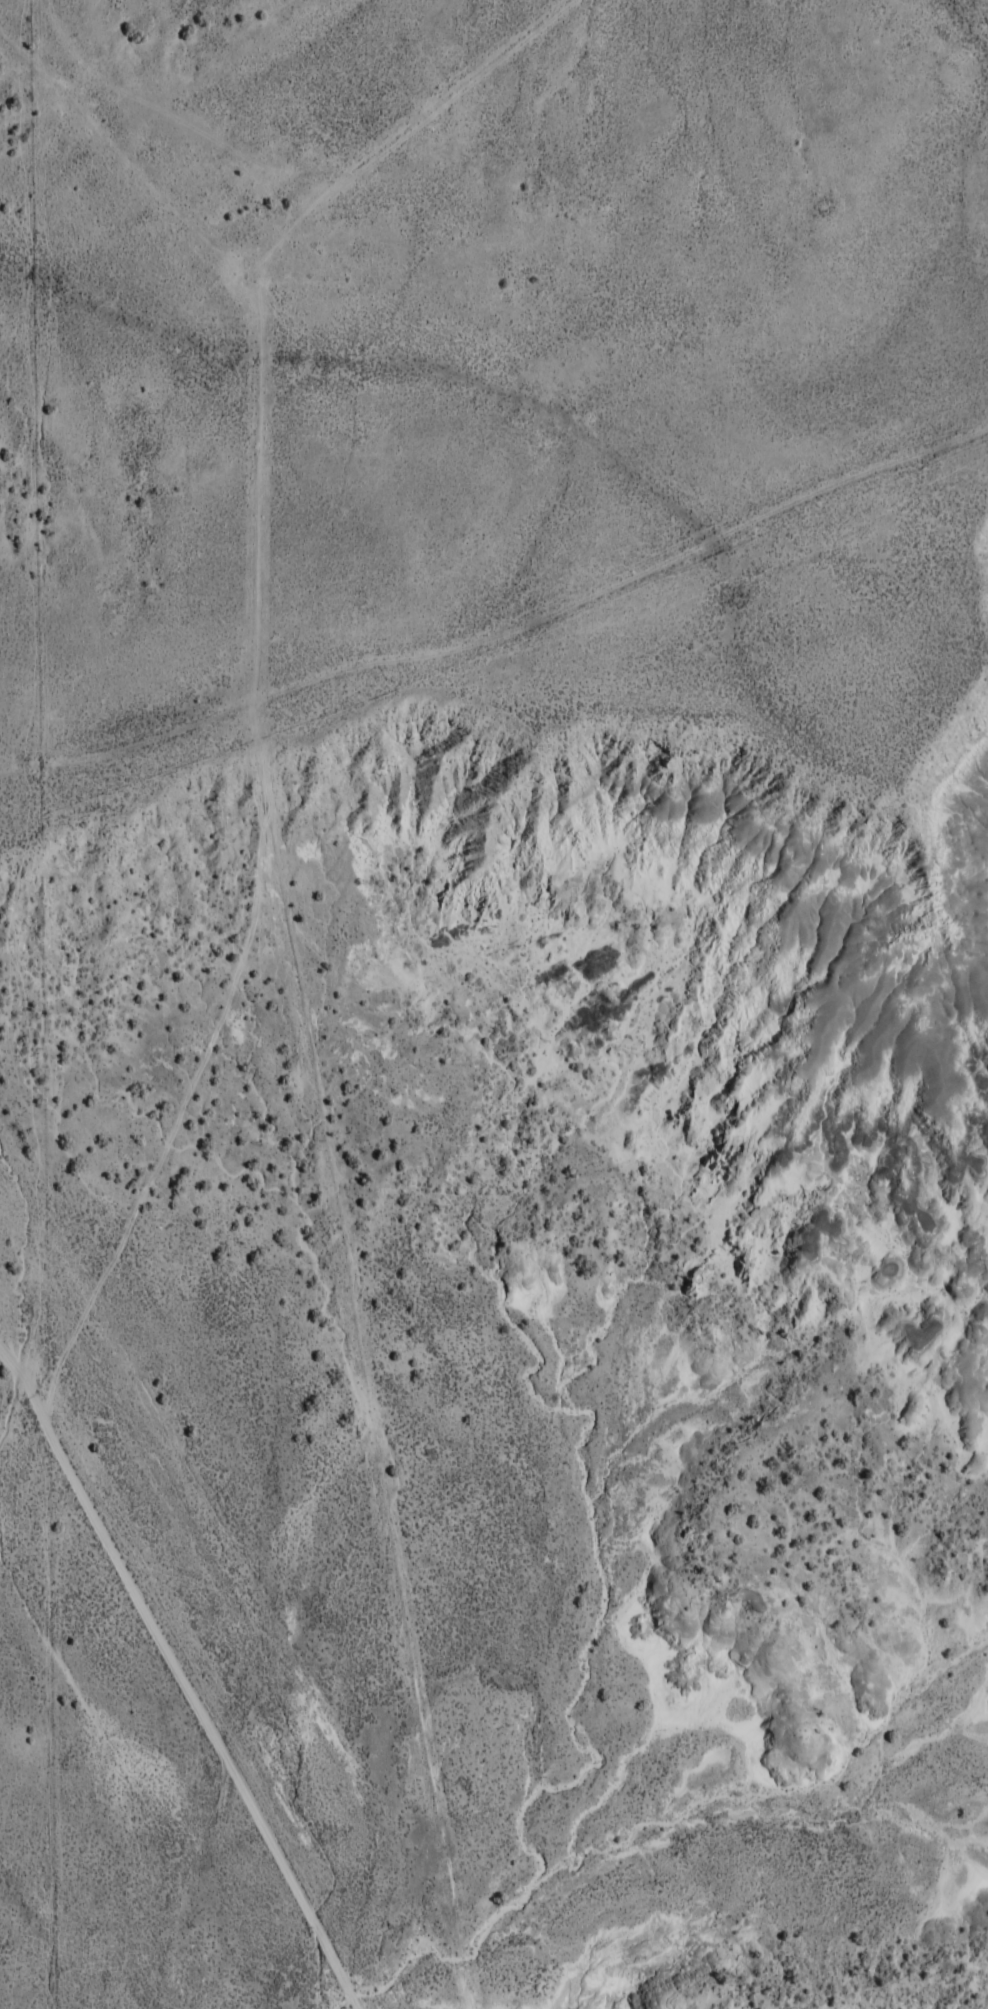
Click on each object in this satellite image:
road: (489, 590)
road: (181, 1678)

